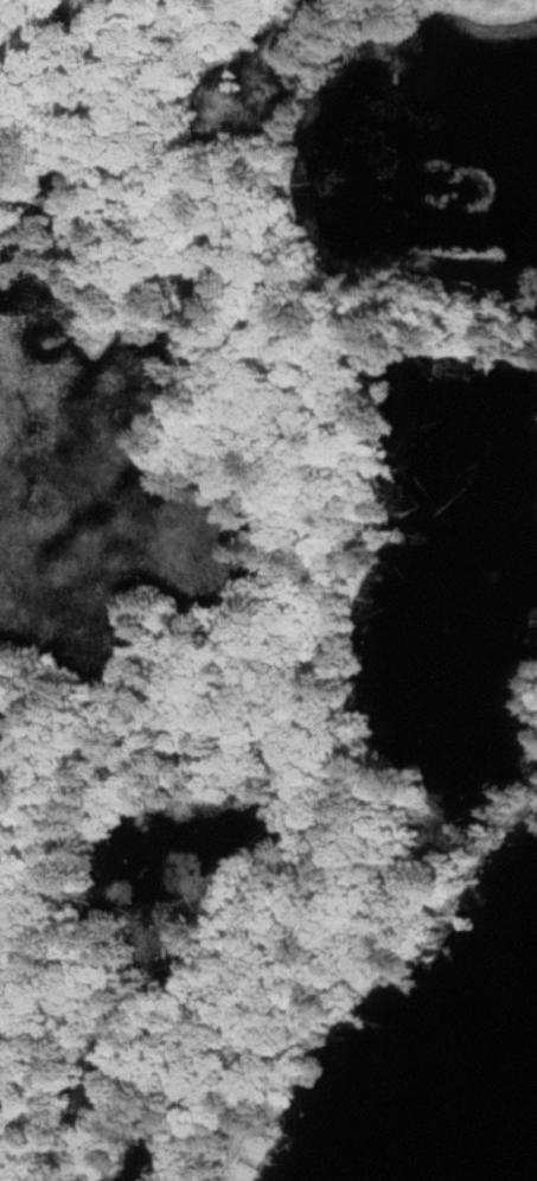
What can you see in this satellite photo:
road: (184, 147)
road: (318, 496)
park: (242, 580)
road: (464, 867)
road: (274, 1038)

